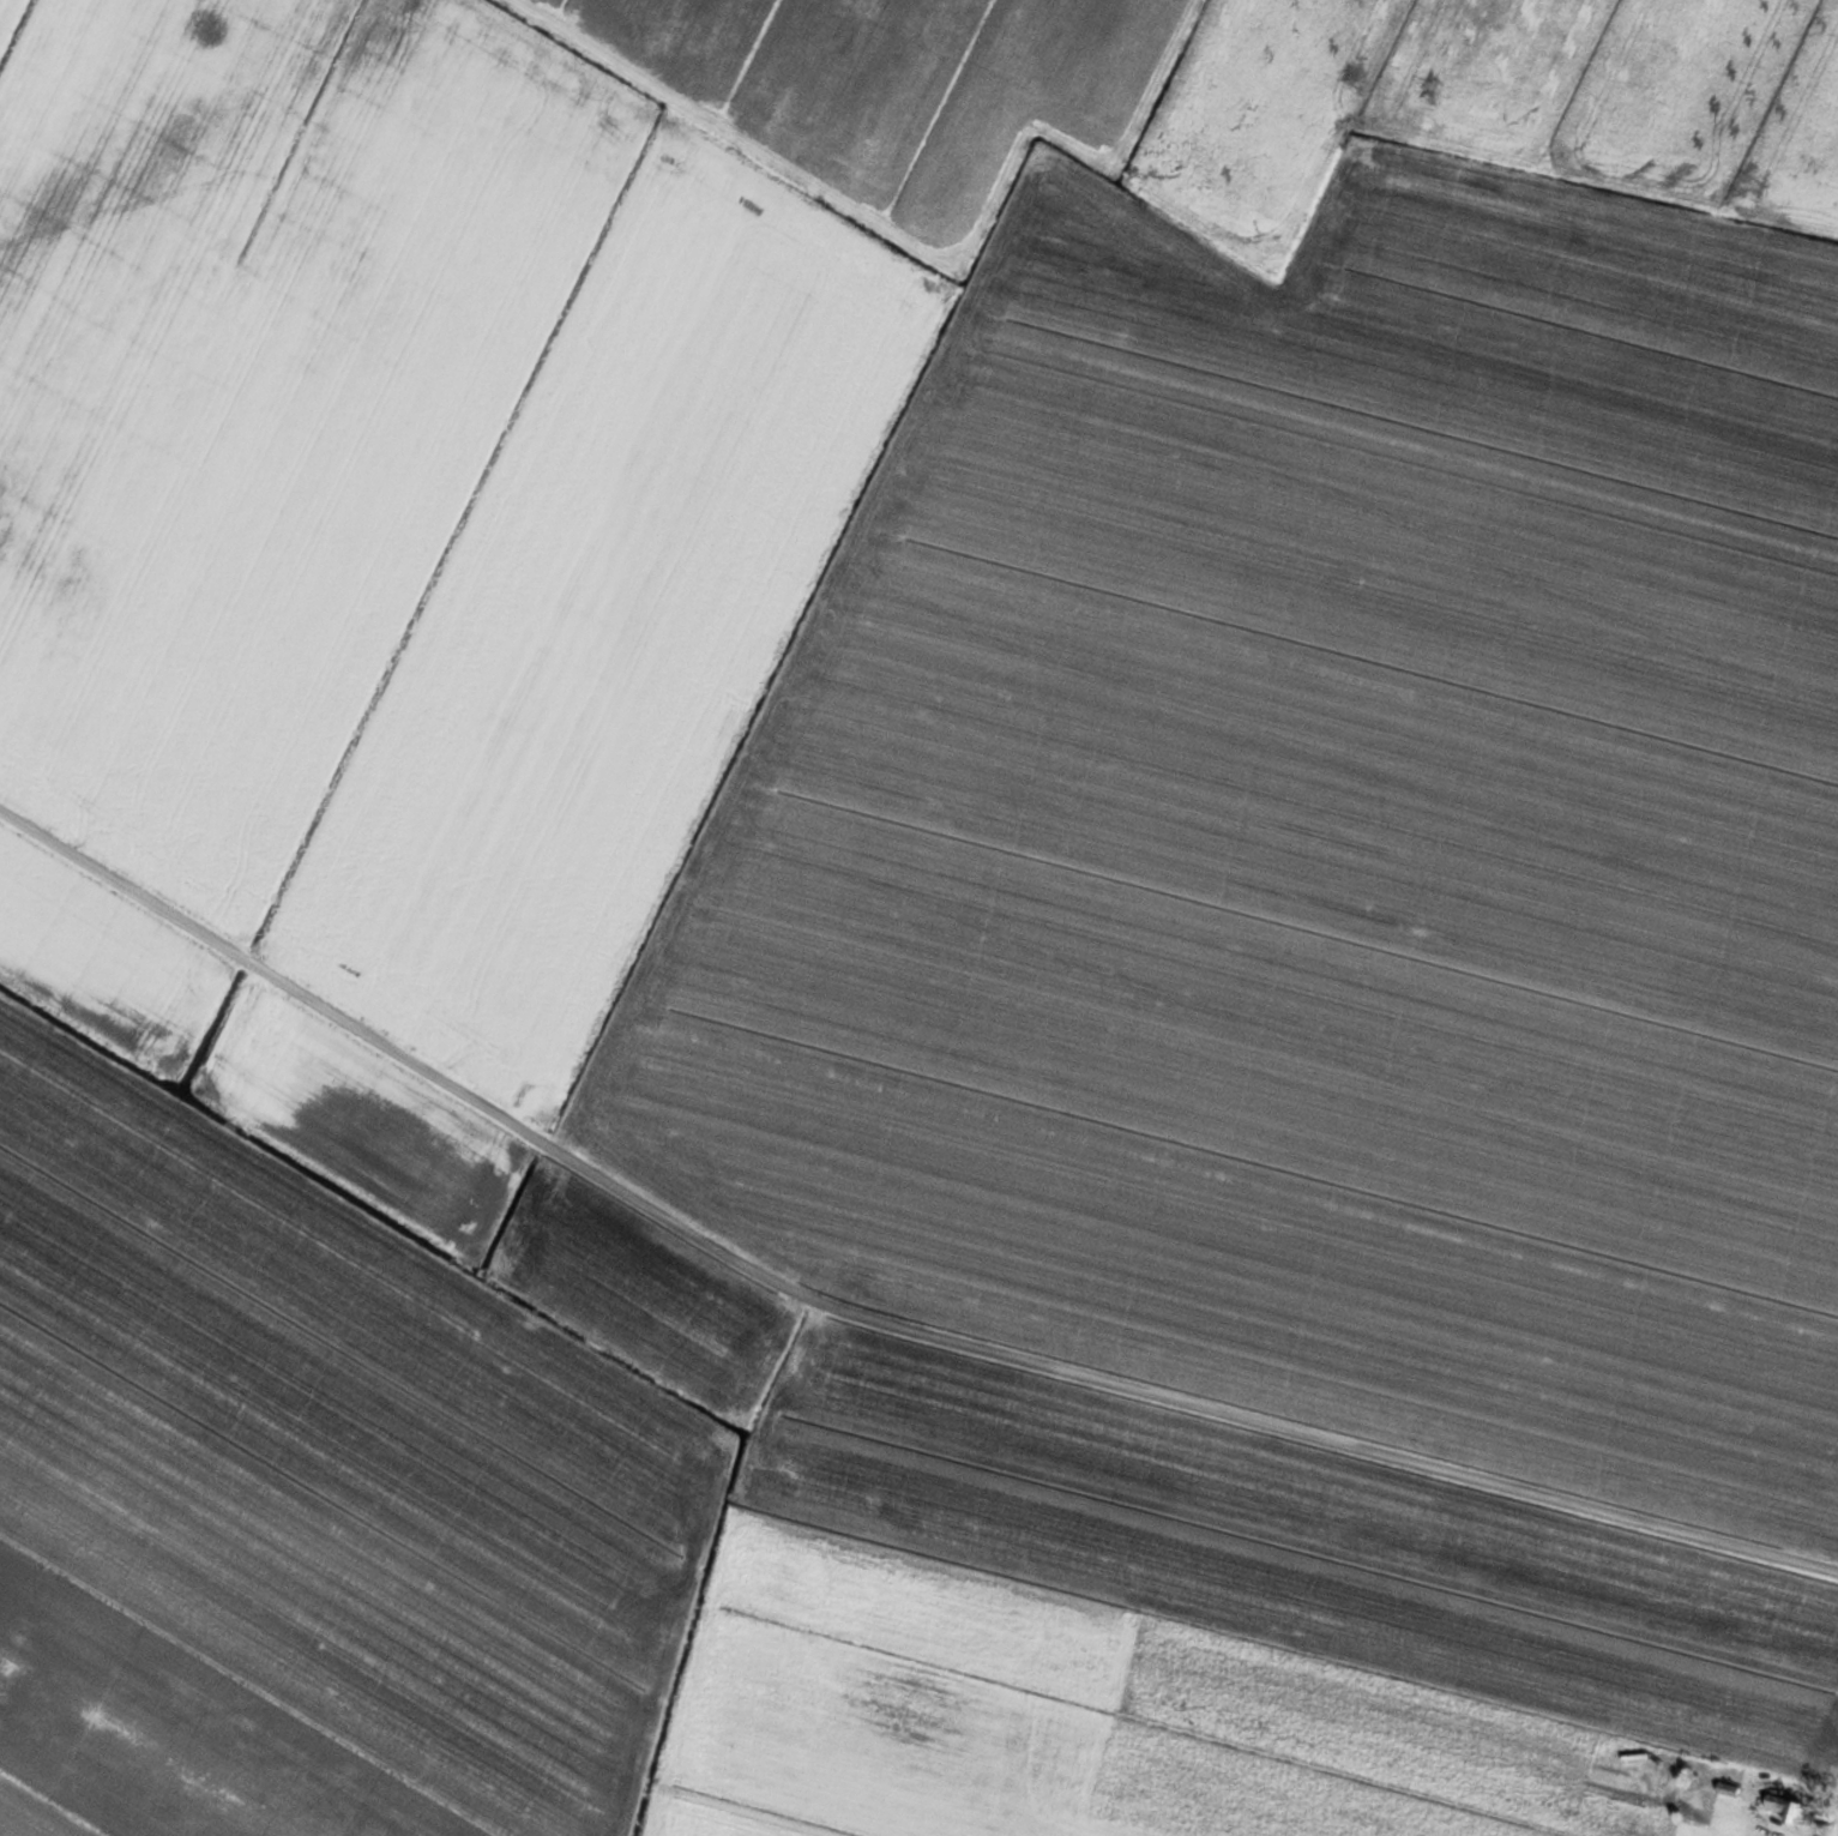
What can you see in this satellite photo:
road: (866, 1332)
building: (1725, 1787)
building: (1785, 1806)

